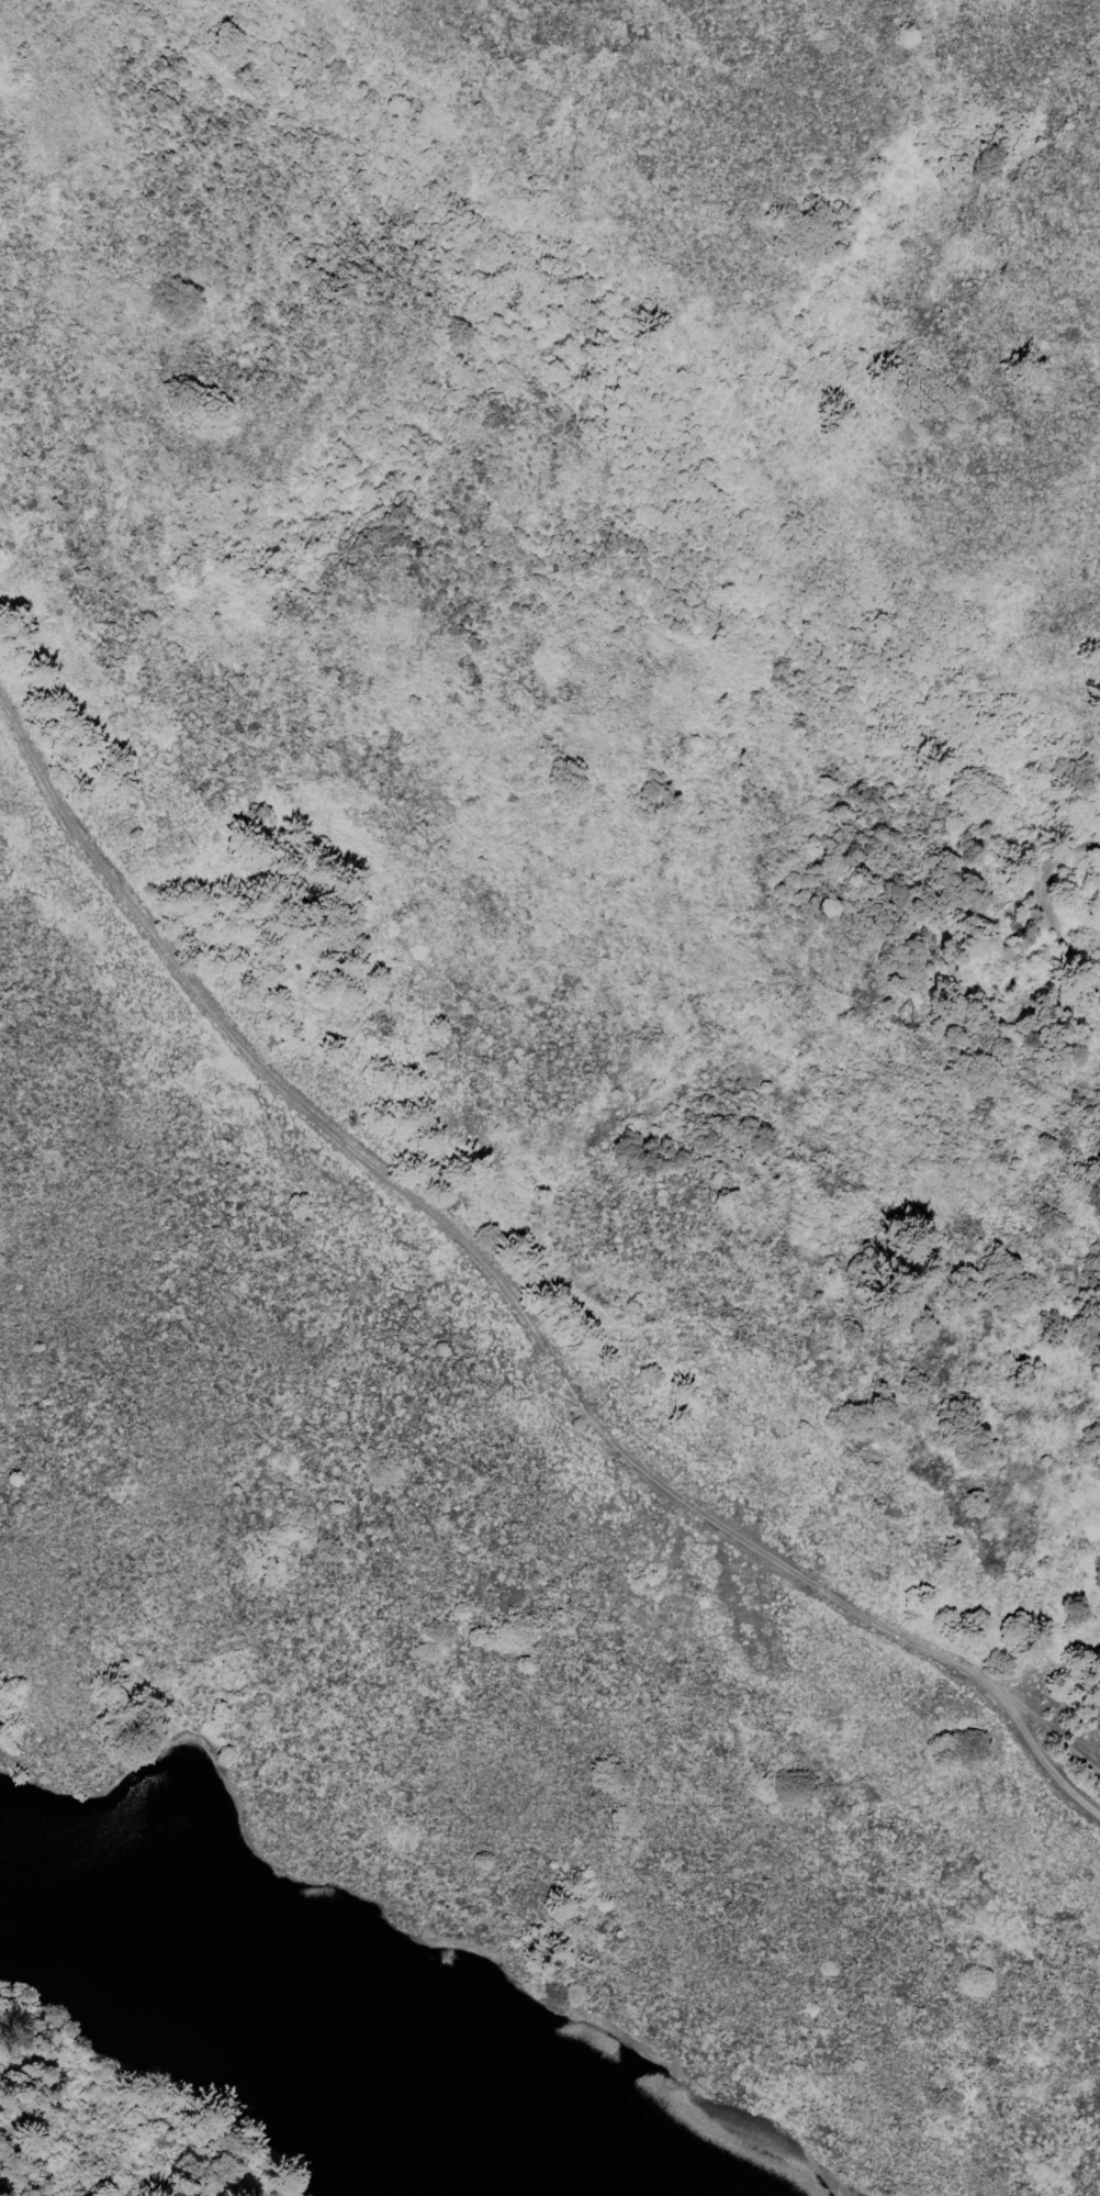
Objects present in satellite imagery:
road: (1054, 912)
road: (512, 1297)

